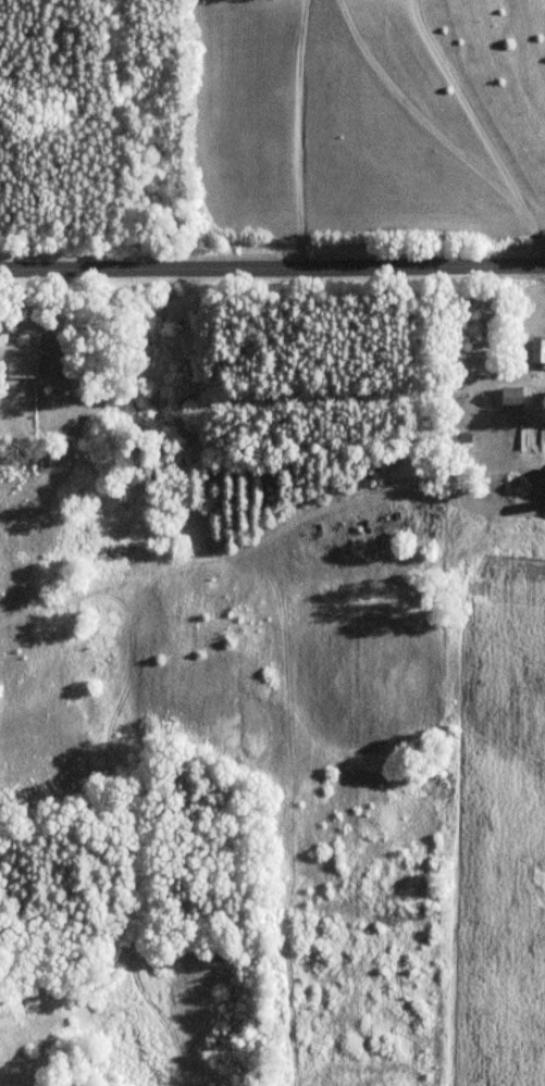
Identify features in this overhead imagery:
road: (463, 102)
road: (299, 134)
road: (437, 139)
road: (272, 270)
building: (538, 349)
building: (20, 357)
building: (511, 395)
building: (530, 434)

